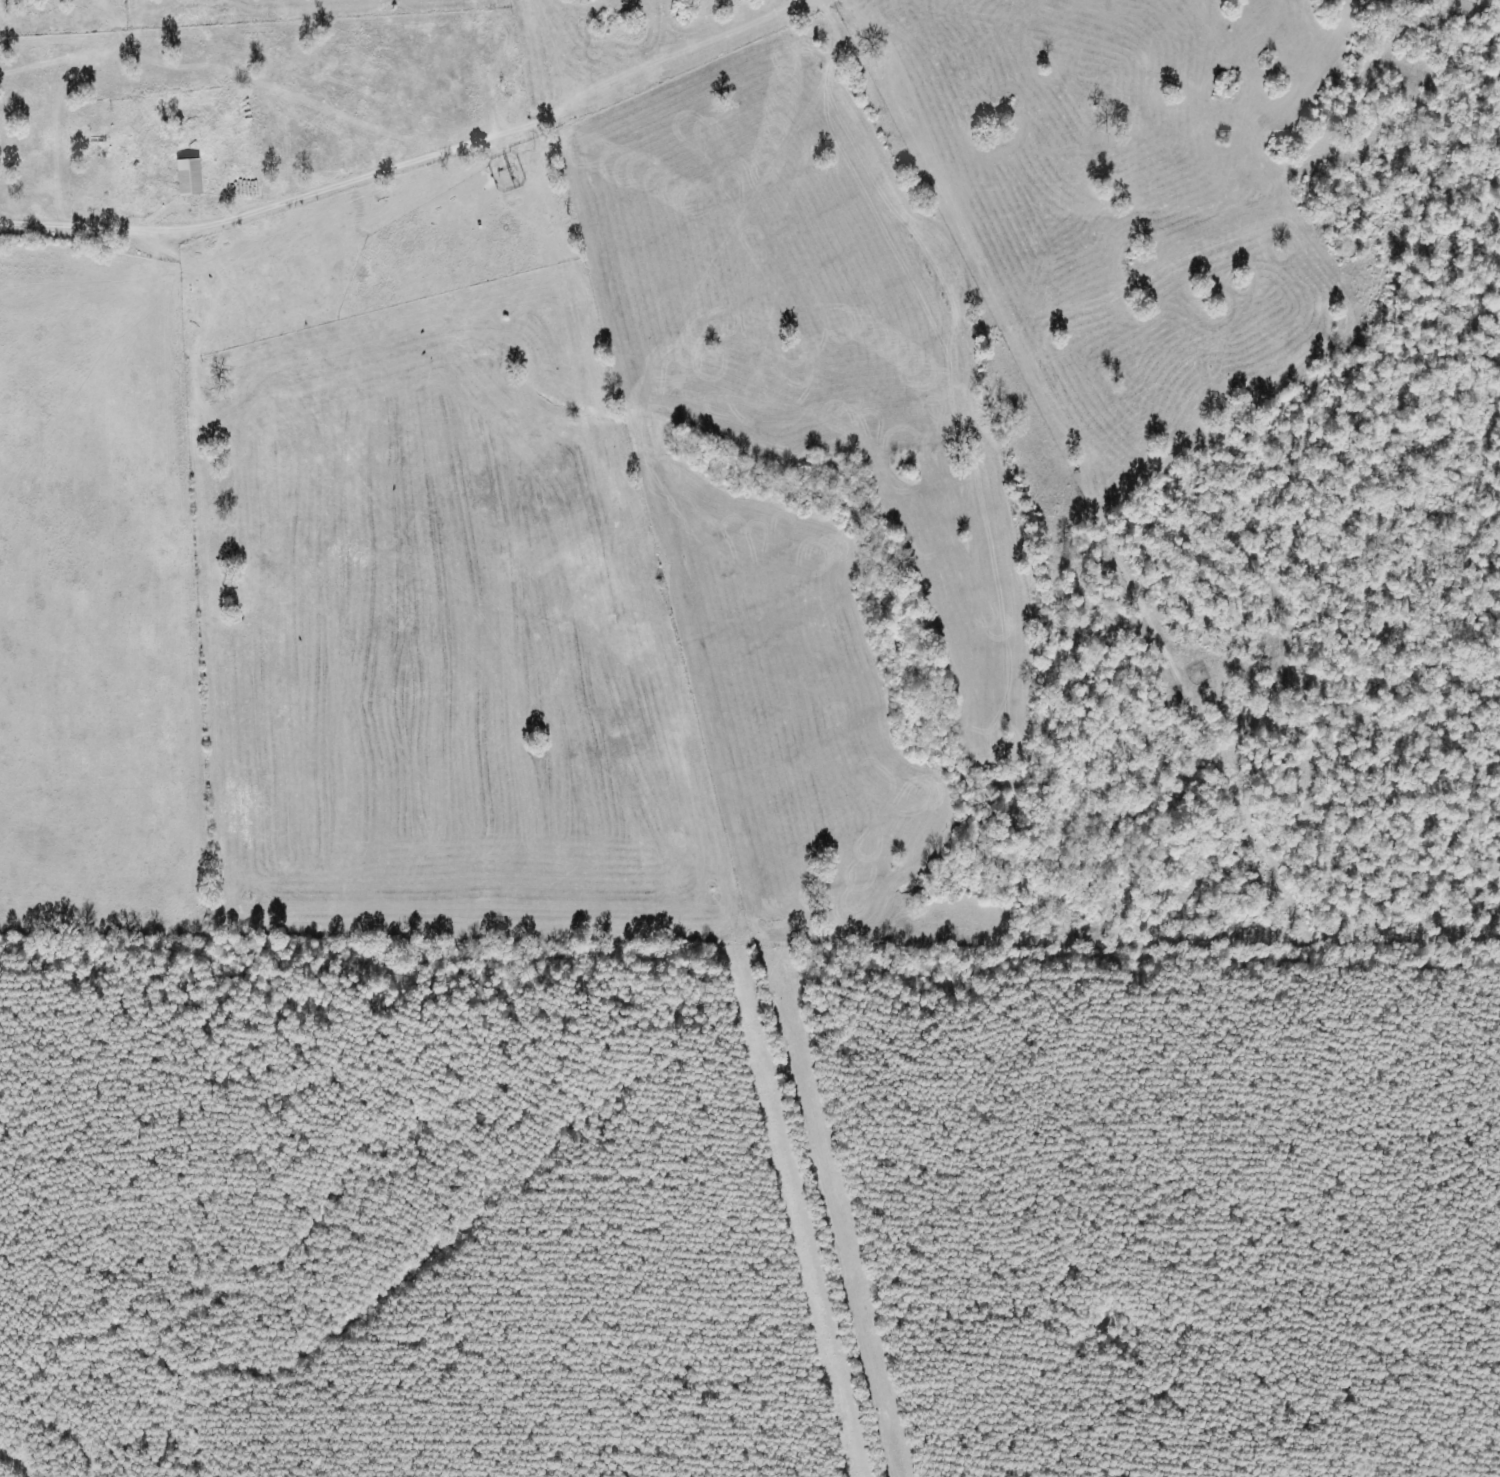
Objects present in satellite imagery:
building: (189, 178)

